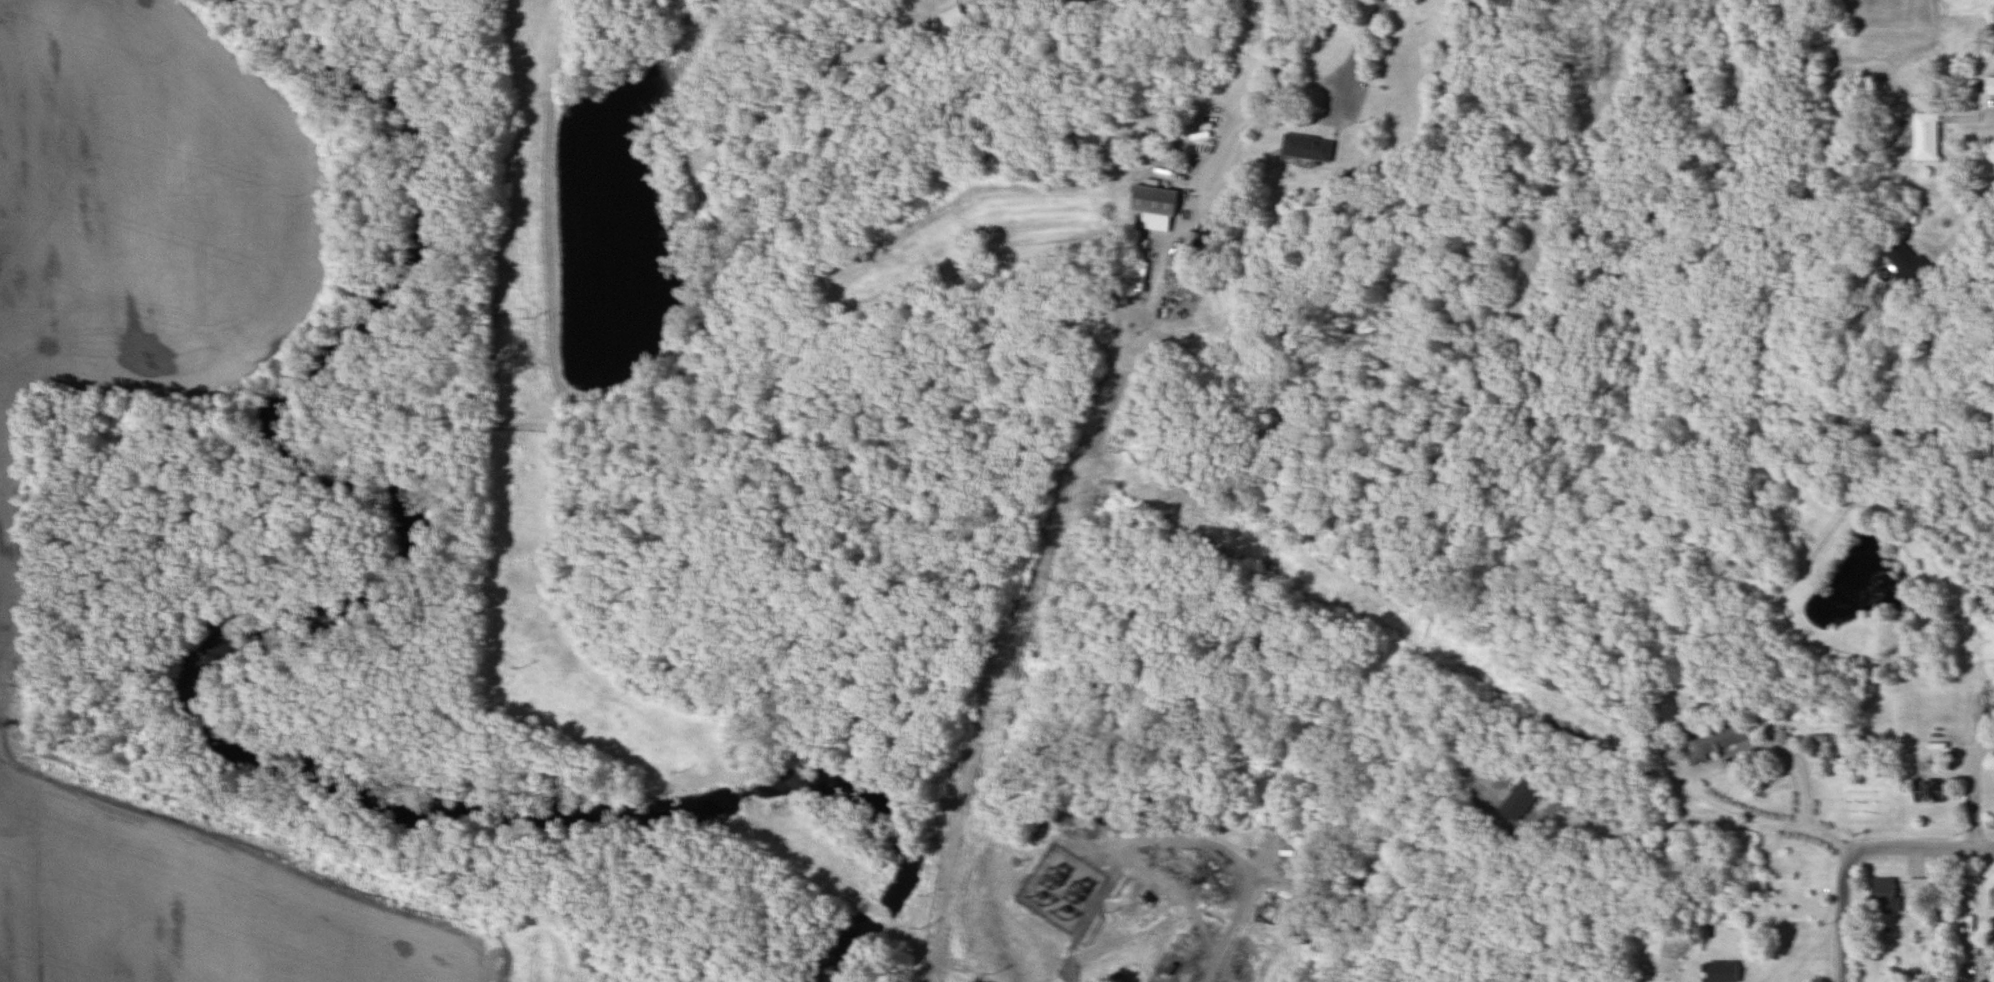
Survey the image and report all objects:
building: (953, 16)
road: (1348, 68)
building: (1988, 85)
building: (1924, 136)
building: (1303, 147)
road: (1956, 200)
building: (1153, 206)
building: (1904, 259)
building: (1139, 275)
building: (1713, 740)
road: (1734, 755)
building: (1927, 792)
road: (1972, 792)
building: (1514, 801)
road: (1658, 824)
road: (1810, 832)
road: (1921, 848)
building: (1915, 889)
building: (1881, 895)
building: (1990, 896)
road: (1841, 917)
crop: (188, 918)
building: (1716, 971)

